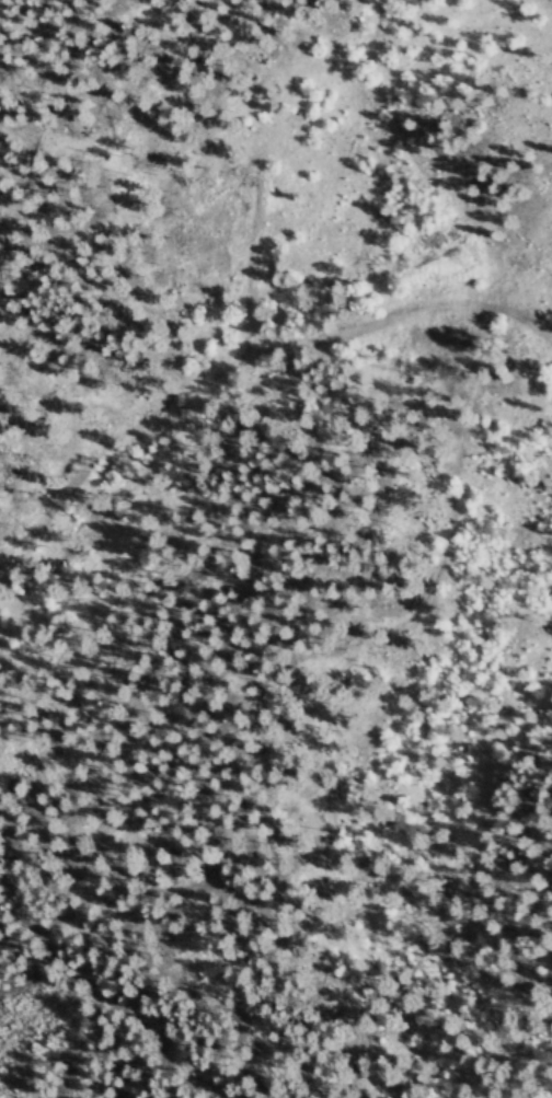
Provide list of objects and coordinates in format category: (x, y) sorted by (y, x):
road: (421, 166)

